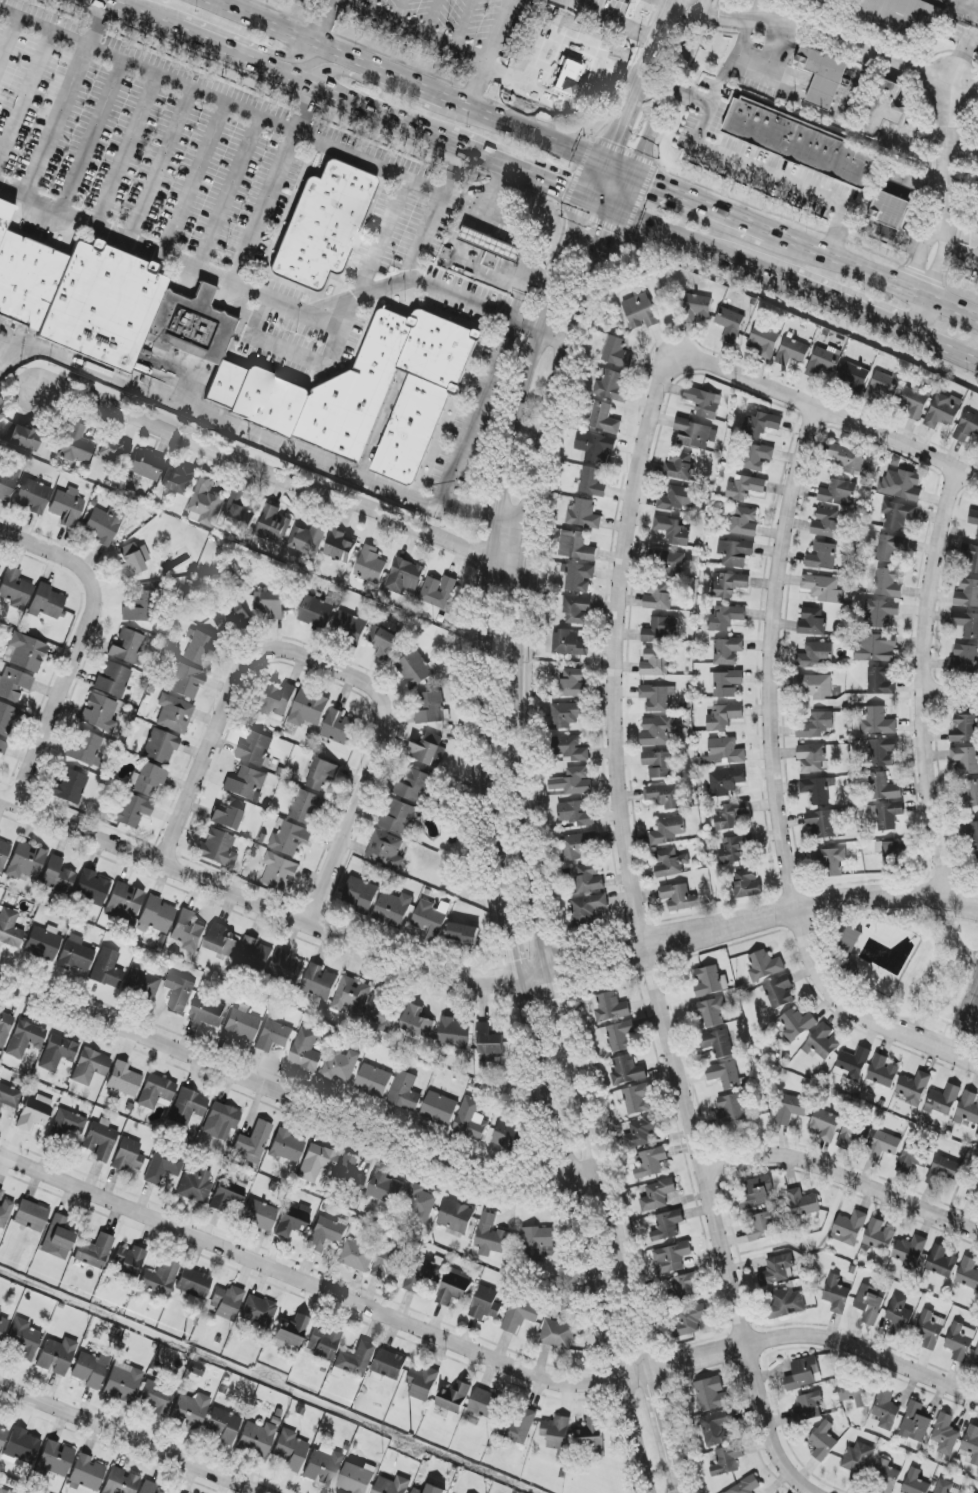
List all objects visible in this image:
building: (822, 2)
road: (965, 4)
road: (757, 8)
road: (680, 9)
road: (702, 9)
road: (140, 15)
building: (905, 17)
road: (611, 19)
road: (660, 19)
road: (324, 21)
road: (96, 22)
road: (416, 31)
road: (832, 32)
road: (9, 39)
road: (306, 39)
road: (204, 43)
road: (962, 49)
road: (275, 53)
road: (494, 53)
road: (645, 58)
road: (732, 60)
building: (822, 76)
road: (354, 78)
road: (424, 89)
road: (968, 91)
road: (25, 92)
road: (338, 97)
road: (665, 97)
road: (305, 108)
building: (886, 108)
road: (57, 116)
road: (276, 120)
road: (524, 131)
road: (92, 137)
road: (611, 140)
traffic signals: (612, 140)
road: (126, 149)
road: (962, 154)
road: (947, 156)
road: (162, 162)
road: (756, 166)
road: (618, 169)
road: (516, 172)
road: (196, 176)
traffic signals: (654, 184)
traffic signals: (561, 192)
road: (227, 195)
road: (702, 203)
road: (603, 209)
road: (262, 210)
building: (889, 210)
building: (3, 214)
building: (323, 226)
road: (513, 229)
traffic signals: (611, 233)
road: (625, 233)
road: (609, 238)
building: (491, 244)
road: (696, 246)
building: (495, 255)
road: (920, 255)
road: (937, 262)
road: (875, 274)
building: (26, 281)
road: (362, 281)
road: (370, 293)
road: (817, 295)
building: (101, 305)
building: (696, 308)
building: (640, 310)
road: (900, 314)
building: (730, 324)
building: (191, 328)
road: (334, 335)
road: (918, 340)
building: (764, 341)
road: (273, 343)
building: (793, 352)
building: (617, 353)
building: (823, 363)
building: (854, 376)
building: (884, 385)
building: (613, 386)
building: (362, 394)
building: (0, 402)
building: (704, 402)
building: (913, 403)
road: (483, 407)
building: (943, 411)
building: (1, 415)
road: (828, 415)
building: (604, 418)
building: (760, 423)
building: (967, 427)
road: (251, 432)
building: (695, 434)
building: (25, 438)
building: (77, 446)
building: (596, 447)
building: (115, 450)
building: (757, 457)
building: (849, 459)
building: (146, 465)
building: (679, 465)
road: (283, 472)
building: (179, 480)
building: (7, 482)
building: (592, 482)
building: (908, 486)
building: (745, 488)
building: (838, 492)
building: (33, 496)
building: (677, 498)
building: (207, 502)
building: (67, 507)
building: (240, 507)
building: (583, 515)
building: (898, 515)
building: (974, 520)
building: (745, 522)
building: (826, 523)
building: (102, 525)
building: (272, 525)
building: (673, 531)
building: (308, 539)
building: (576, 546)
building: (340, 547)
building: (891, 547)
road: (497, 553)
building: (735, 553)
building: (822, 556)
building: (131, 560)
building: (970, 560)
building: (671, 564)
building: (370, 565)
building: (0, 566)
building: (405, 577)
building: (579, 577)
building: (889, 583)
building: (728, 584)
building: (823, 588)
building: (15, 589)
building: (438, 591)
building: (967, 594)
building: (658, 596)
building: (47, 602)
building: (270, 604)
building: (138, 606)
building: (577, 609)
building: (317, 613)
building: (882, 613)
building: (231, 618)
building: (725, 618)
building: (812, 622)
building: (967, 624)
building: (350, 625)
building: (661, 630)
road: (89, 634)
building: (383, 642)
building: (569, 644)
building: (127, 645)
building: (202, 648)
building: (876, 648)
building: (727, 651)
building: (25, 652)
building: (815, 654)
building: (964, 659)
road: (333, 663)
building: (655, 663)
building: (415, 669)
building: (113, 680)
building: (187, 681)
building: (882, 681)
building: (574, 683)
building: (13, 684)
building: (727, 684)
road: (924, 685)
building: (815, 687)
building: (657, 698)
road: (951, 698)
building: (276, 701)
building: (309, 708)
building: (432, 709)
building: (99, 713)
building: (174, 713)
building: (569, 713)
building: (724, 717)
building: (7, 719)
building: (878, 722)
building: (816, 726)
building: (340, 728)
building: (964, 729)
building: (658, 730)
building: (161, 747)
building: (3, 748)
building: (570, 748)
building: (85, 749)
building: (255, 749)
building: (428, 750)
building: (725, 752)
building: (883, 752)
building: (812, 758)
building: (966, 760)
building: (659, 764)
building: (322, 774)
building: (148, 779)
building: (573, 782)
building: (726, 782)
building: (246, 784)
building: (71, 786)
building: (414, 787)
road: (773, 787)
building: (885, 788)
building: (816, 790)
building: (971, 793)
building: (665, 795)
building: (307, 807)
building: (132, 810)
building: (228, 814)
building: (576, 814)
building: (731, 815)
building: (888, 815)
building: (399, 818)
building: (821, 824)
building: (668, 830)
building: (974, 835)
building: (289, 838)
road: (531, 841)
building: (578, 846)
building: (218, 848)
building: (735, 848)
building: (895, 850)
building: (386, 851)
building: (3, 854)
building: (25, 861)
building: (832, 862)
building: (671, 864)
building: (280, 871)
building: (57, 877)
building: (588, 879)
building: (747, 883)
building: (91, 887)
building: (360, 895)
building: (678, 897)
road: (259, 901)
building: (124, 902)
building: (393, 909)
building: (587, 909)
building: (155, 916)
building: (431, 918)
road: (749, 921)
building: (10, 928)
building: (188, 931)
building: (464, 936)
road: (641, 938)
building: (851, 938)
building: (221, 941)
building: (43, 943)
road: (519, 947)
building: (75, 954)
building: (254, 955)
building: (765, 966)
building: (287, 967)
building: (107, 969)
building: (710, 981)
building: (319, 982)
building: (142, 985)
building: (779, 992)
building: (179, 993)
building: (351, 995)
building: (610, 1007)
building: (208, 1011)
building: (384, 1012)
building: (709, 1012)
building: (417, 1022)
building: (795, 1024)
building: (241, 1026)
building: (5, 1028)
building: (455, 1034)
building: (273, 1036)
building: (620, 1036)
building: (25, 1038)
building: (822, 1043)
building: (490, 1044)
building: (718, 1044)
building: (305, 1050)
building: (57, 1053)
building: (853, 1064)
building: (341, 1065)
building: (90, 1066)
building: (627, 1071)
building: (883, 1071)
building: (725, 1075)
building: (123, 1079)
building: (374, 1081)
building: (913, 1088)
building: (156, 1092)
building: (405, 1092)
building: (9, 1096)
road: (297, 1099)
building: (637, 1099)
building: (944, 1100)
building: (187, 1107)
building: (439, 1109)
building: (731, 1109)
building: (791, 1109)
building: (968, 1109)
building: (34, 1112)
road: (559, 1113)
building: (471, 1120)
building: (221, 1121)
building: (68, 1124)
building: (825, 1125)
building: (642, 1132)
building: (854, 1135)
building: (507, 1136)
building: (101, 1140)
building: (254, 1142)
building: (288, 1146)
building: (883, 1146)
building: (128, 1156)
building: (912, 1160)
building: (317, 1162)
building: (651, 1163)
building: (162, 1167)
building: (943, 1170)
road: (846, 1173)
building: (349, 1174)
building: (195, 1186)
building: (384, 1187)
building: (973, 1191)
building: (755, 1193)
building: (227, 1195)
building: (657, 1195)
building: (420, 1203)
building: (803, 1203)
building: (4, 1210)
building: (31, 1215)
building: (259, 1215)
building: (456, 1218)
building: (293, 1221)
building: (668, 1225)
building: (763, 1225)
building: (849, 1228)
building: (326, 1233)
building: (490, 1236)
building: (879, 1236)
building: (57, 1238)
building: (538, 1243)
building: (95, 1251)
building: (910, 1252)
building: (357, 1256)
building: (131, 1257)
building: (671, 1258)
building: (942, 1262)
building: (387, 1267)
building: (777, 1270)
building: (968, 1273)
building: (418, 1276)
road: (309, 1277)
building: (160, 1278)
building: (193, 1282)
building: (687, 1285)
building: (455, 1287)
building: (837, 1295)
building: (227, 1302)
building: (784, 1303)
building: (485, 1304)
building: (870, 1304)
building: (258, 1311)
building: (521, 1314)
road: (607, 1314)
building: (899, 1316)
building: (690, 1319)
building: (3, 1326)
building: (931, 1330)
building: (290, 1332)
building: (558, 1335)
road: (803, 1337)
building: (24, 1339)
building: (960, 1341)
building: (324, 1342)
building: (56, 1356)
building: (353, 1360)
building: (975, 1360)
building: (387, 1365)
building: (89, 1370)
building: (804, 1374)
building: (123, 1383)
building: (422, 1384)
building: (852, 1390)
building: (712, 1395)
building: (157, 1398)
building: (455, 1398)
building: (486, 1404)
building: (810, 1404)
building: (886, 1409)
building: (190, 1411)
road: (664, 1420)
building: (915, 1423)
building: (519, 1424)
building: (223, 1425)
building: (716, 1427)
building: (556, 1432)
building: (945, 1434)
building: (2, 1435)
road: (135, 1436)
building: (592, 1436)
road: (637, 1437)
building: (257, 1438)
building: (823, 1441)
building: (972, 1443)
building: (290, 1450)
building: (54, 1459)
building: (727, 1460)
building: (858, 1462)
building: (323, 1465)
building: (87, 1474)
building: (888, 1476)
building: (357, 1478)
road: (679, 1479)
building: (120, 1482)
building: (915, 1483)
building: (392, 1485)
building: (746, 1486)
building: (149, 1487)
building: (946, 1487)
building: (430, 1490)
building: (3, 1491)
building: (177, 1492)

